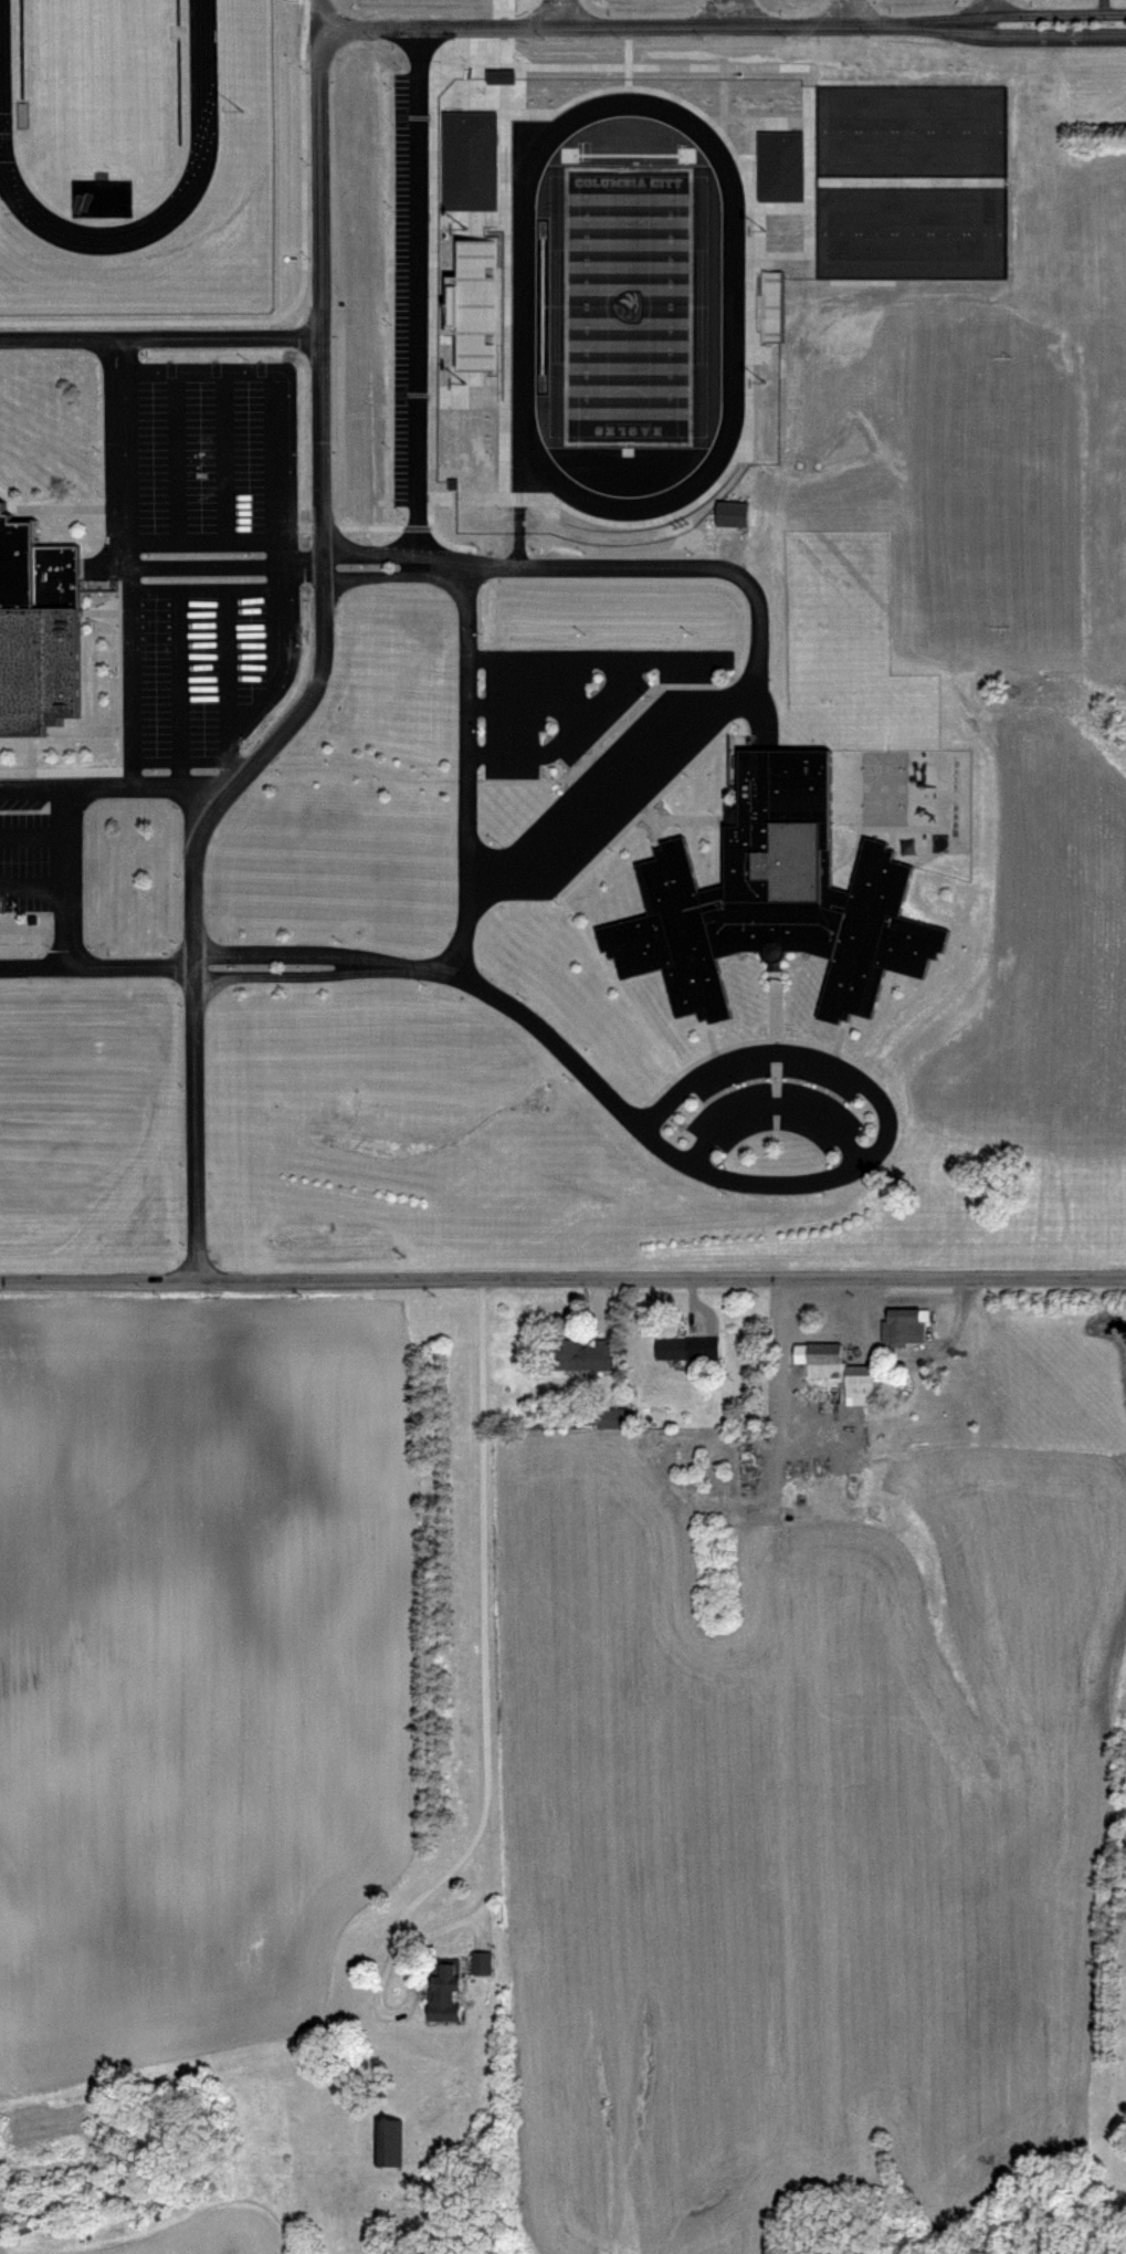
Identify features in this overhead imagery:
road: (754, 11)
road: (845, 11)
road: (1028, 11)
road: (503, 12)
road: (550, 12)
road: (702, 12)
road: (318, 24)
road: (1028, 34)
road: (625, 43)
road: (811, 64)
track: (199, 67)
building: (497, 73)
road: (625, 76)
road: (519, 77)
park: (96, 78)
road: (853, 80)
road: (719, 91)
road: (761, 116)
road: (739, 156)
building: (465, 160)
park: (907, 181)
road: (907, 182)
building: (1104, 192)
road: (780, 203)
road: (470, 218)
road: (779, 255)
building: (1050, 261)
parking lot: (409, 294)
stadium: (628, 305)
road: (387, 306)
road: (431, 331)
road: (159, 335)
road: (319, 373)
road: (282, 384)
road: (469, 391)
parking lot: (200, 449)
road: (45, 504)
building: (729, 513)
road: (375, 522)
road: (147, 541)
road: (201, 542)
road: (254, 542)
road: (117, 552)
road: (393, 552)
road: (102, 564)
road: (392, 574)
road: (221, 587)
road: (97, 608)
road: (84, 619)
building: (36, 620)
road: (551, 653)
parking lot: (200, 663)
road: (758, 665)
road: (277, 668)
road: (178, 685)
road: (228, 685)
parking lot: (569, 699)
road: (588, 703)
road: (525, 704)
road: (758, 707)
road: (62, 715)
road: (131, 723)
road: (60, 727)
road: (119, 733)
road: (29, 748)
road: (180, 762)
road: (513, 777)
road: (97, 784)
road: (32, 785)
parking lot: (606, 790)
road: (463, 814)
road: (622, 815)
road: (699, 816)
road: (661, 817)
road: (899, 824)
road: (32, 832)
road: (860, 834)
road: (614, 835)
parking lot: (25, 840)
road: (65, 867)
building: (776, 892)
road: (65, 923)
road: (277, 950)
road: (33, 962)
road: (129, 962)
road: (277, 974)
building: (1116, 974)
building: (1096, 977)
road: (902, 999)
building: (1054, 1023)
road: (652, 1030)
road: (839, 1030)
road: (775, 1032)
road: (832, 1047)
road: (792, 1048)
road: (712, 1050)
road: (771, 1073)
building: (1094, 1079)
road: (775, 1080)
parking lot: (774, 1100)
road: (732, 1178)
road: (562, 1278)
building: (908, 1325)
building: (678, 1348)
building: (582, 1353)
building: (823, 1356)
building: (866, 1380)
road: (778, 1382)
building: (615, 1416)
road: (483, 1629)
crop: (193, 1669)
building: (486, 1962)
building: (449, 1993)
building: (390, 2141)
crop: (42, 2251)

